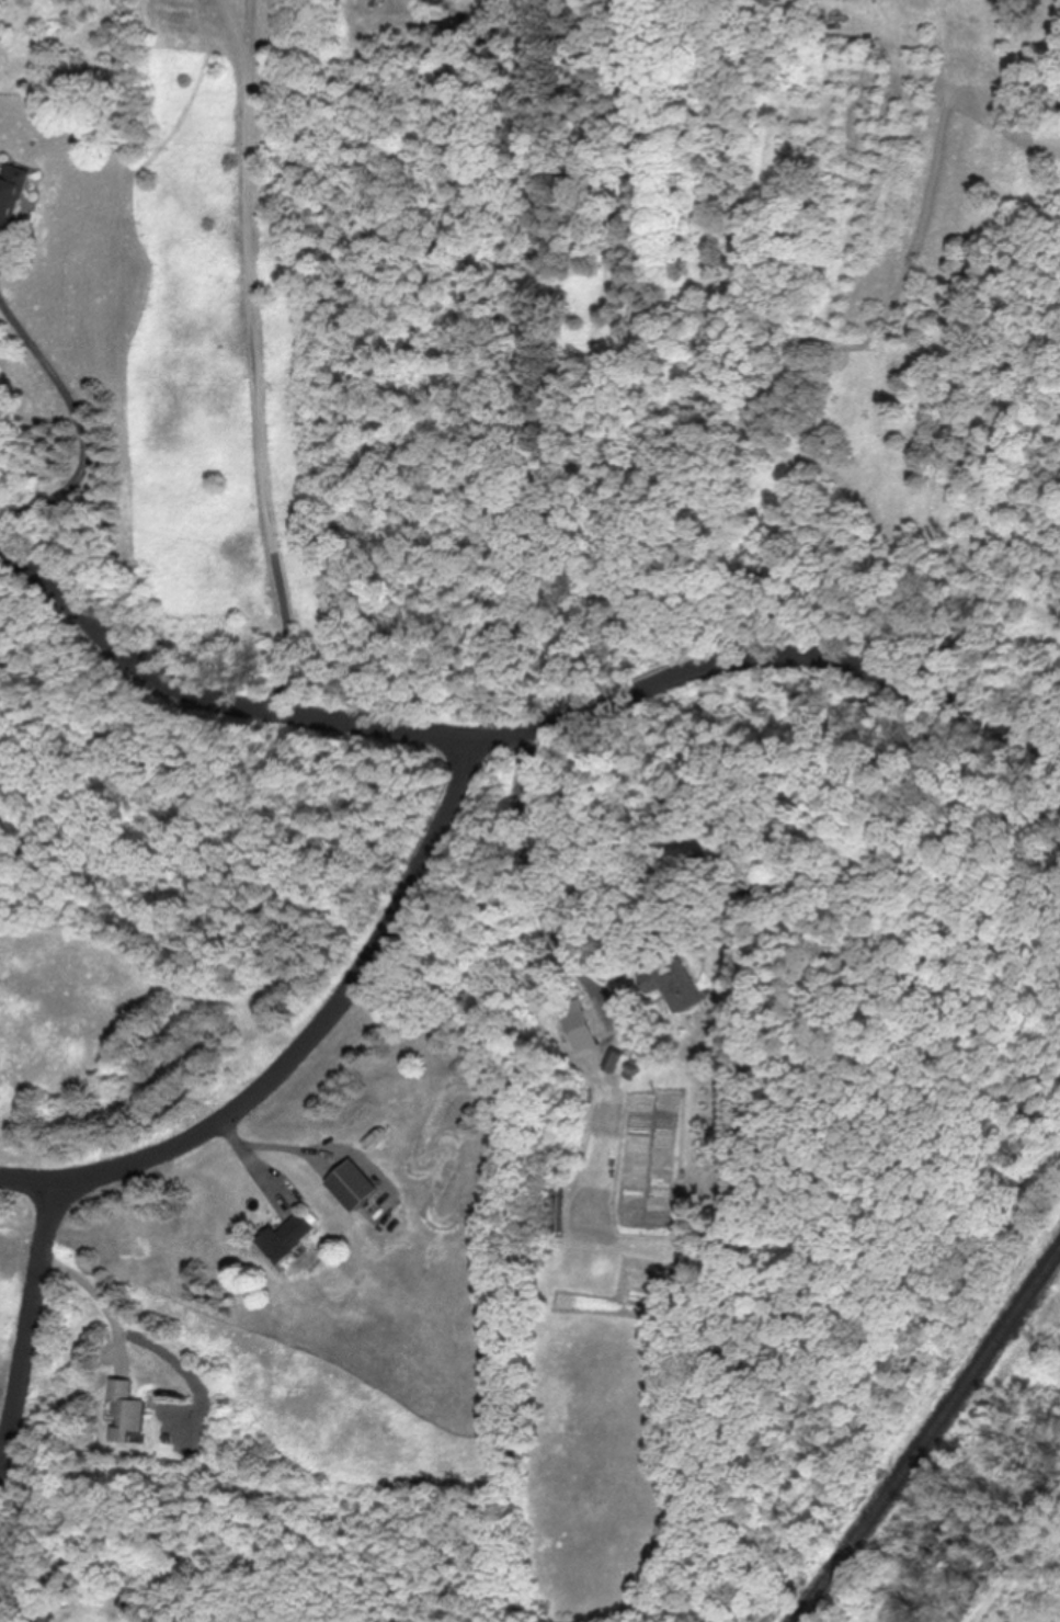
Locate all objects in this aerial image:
road: (250, 65)
building: (12, 191)
road: (254, 390)
road: (82, 428)
road: (515, 728)
road: (533, 875)
building: (674, 983)
road: (327, 1018)
building: (577, 1024)
building: (613, 1059)
road: (29, 1180)
building: (354, 1183)
building: (557, 1210)
building: (288, 1236)
road: (96, 1297)
road: (30, 1326)
building: (126, 1407)
railway: (928, 1438)

